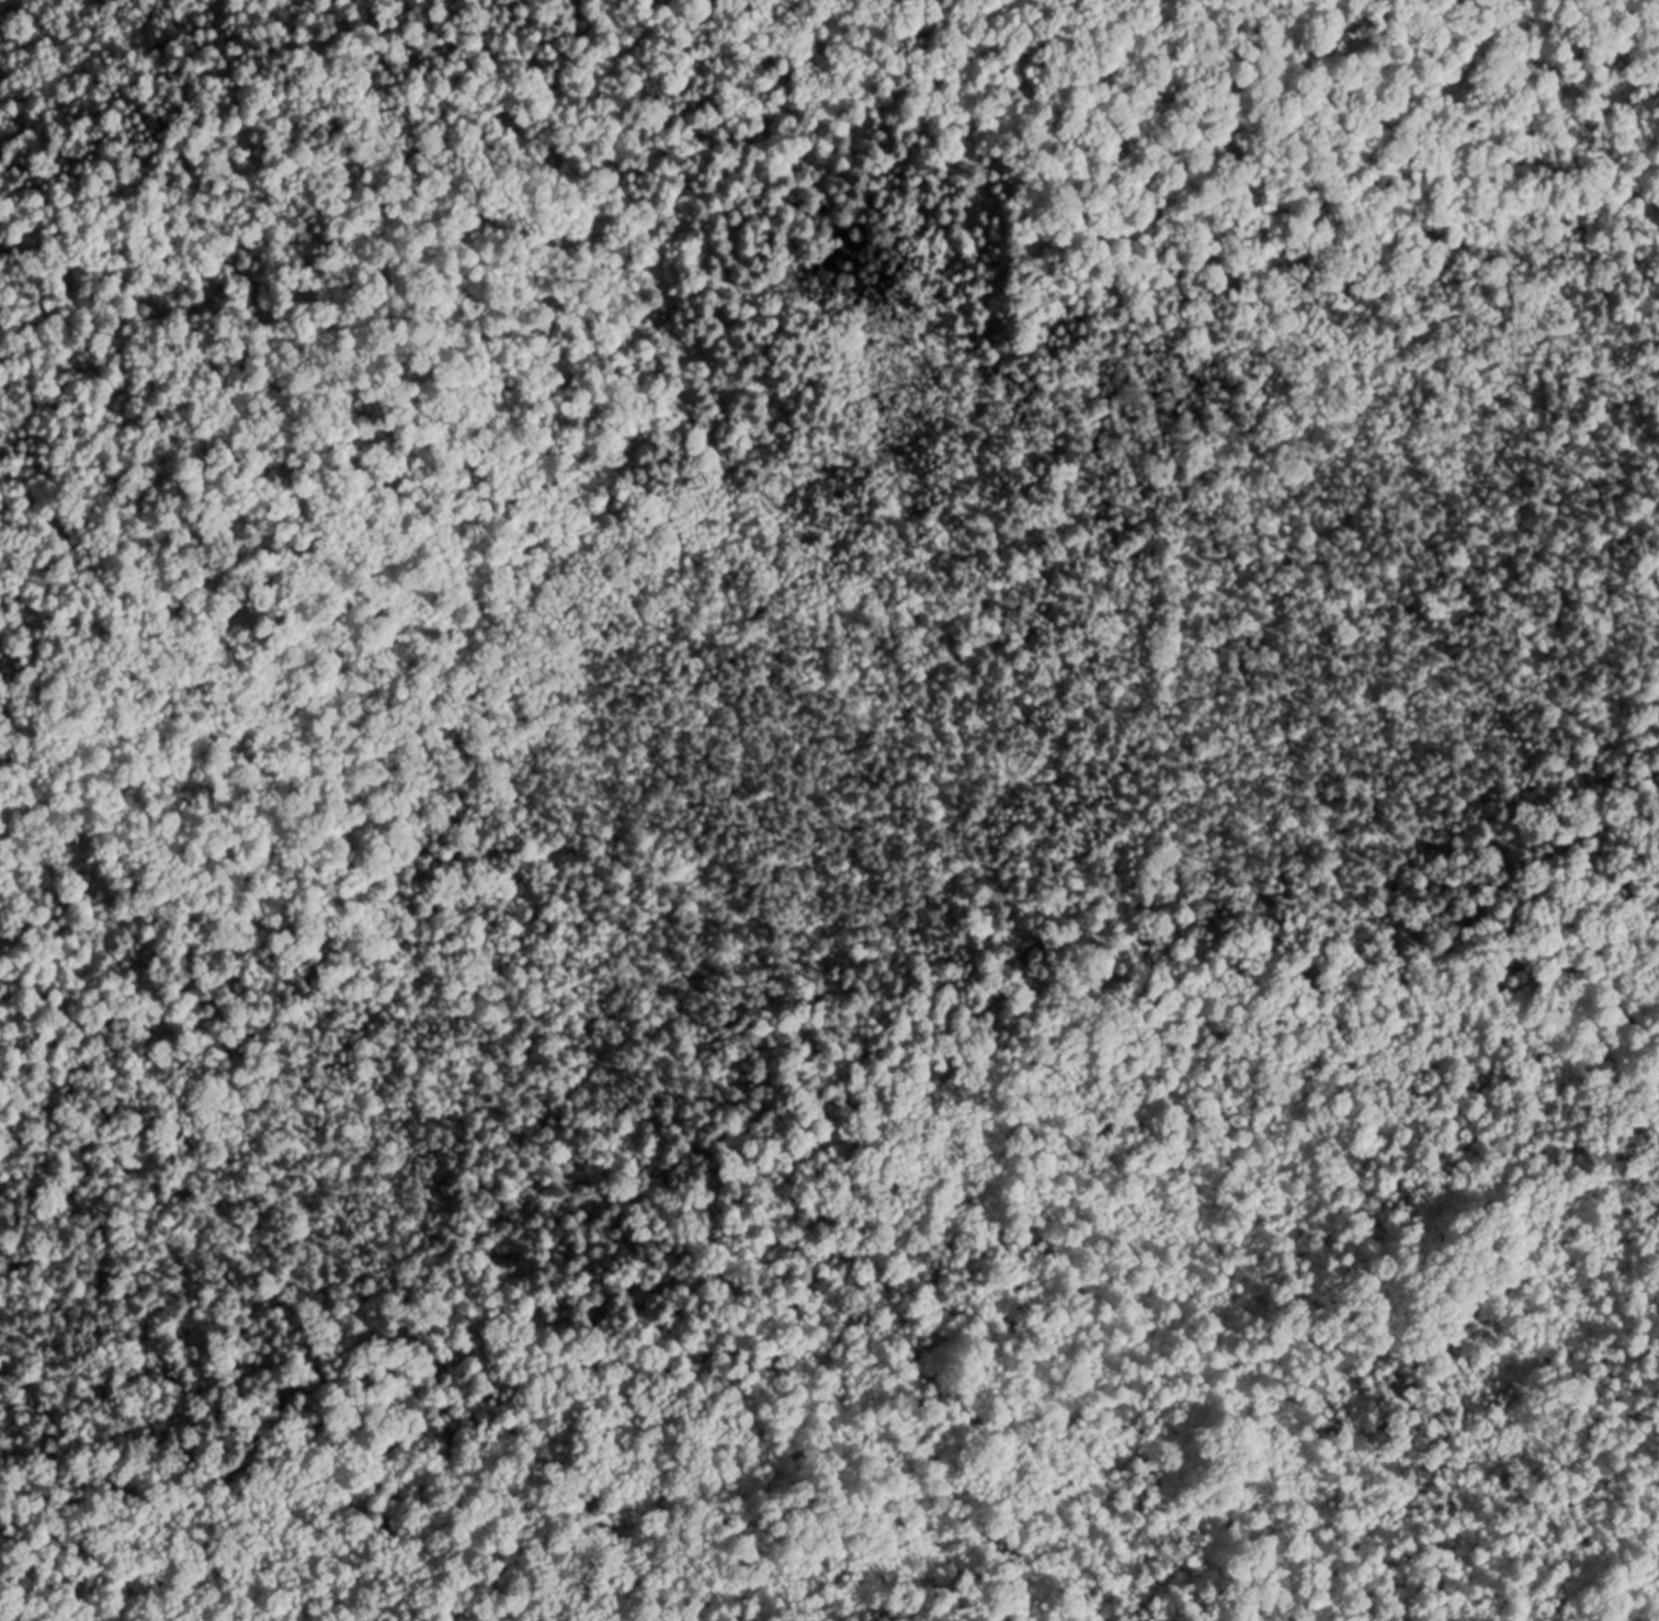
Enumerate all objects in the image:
road: (1599, 1592)

